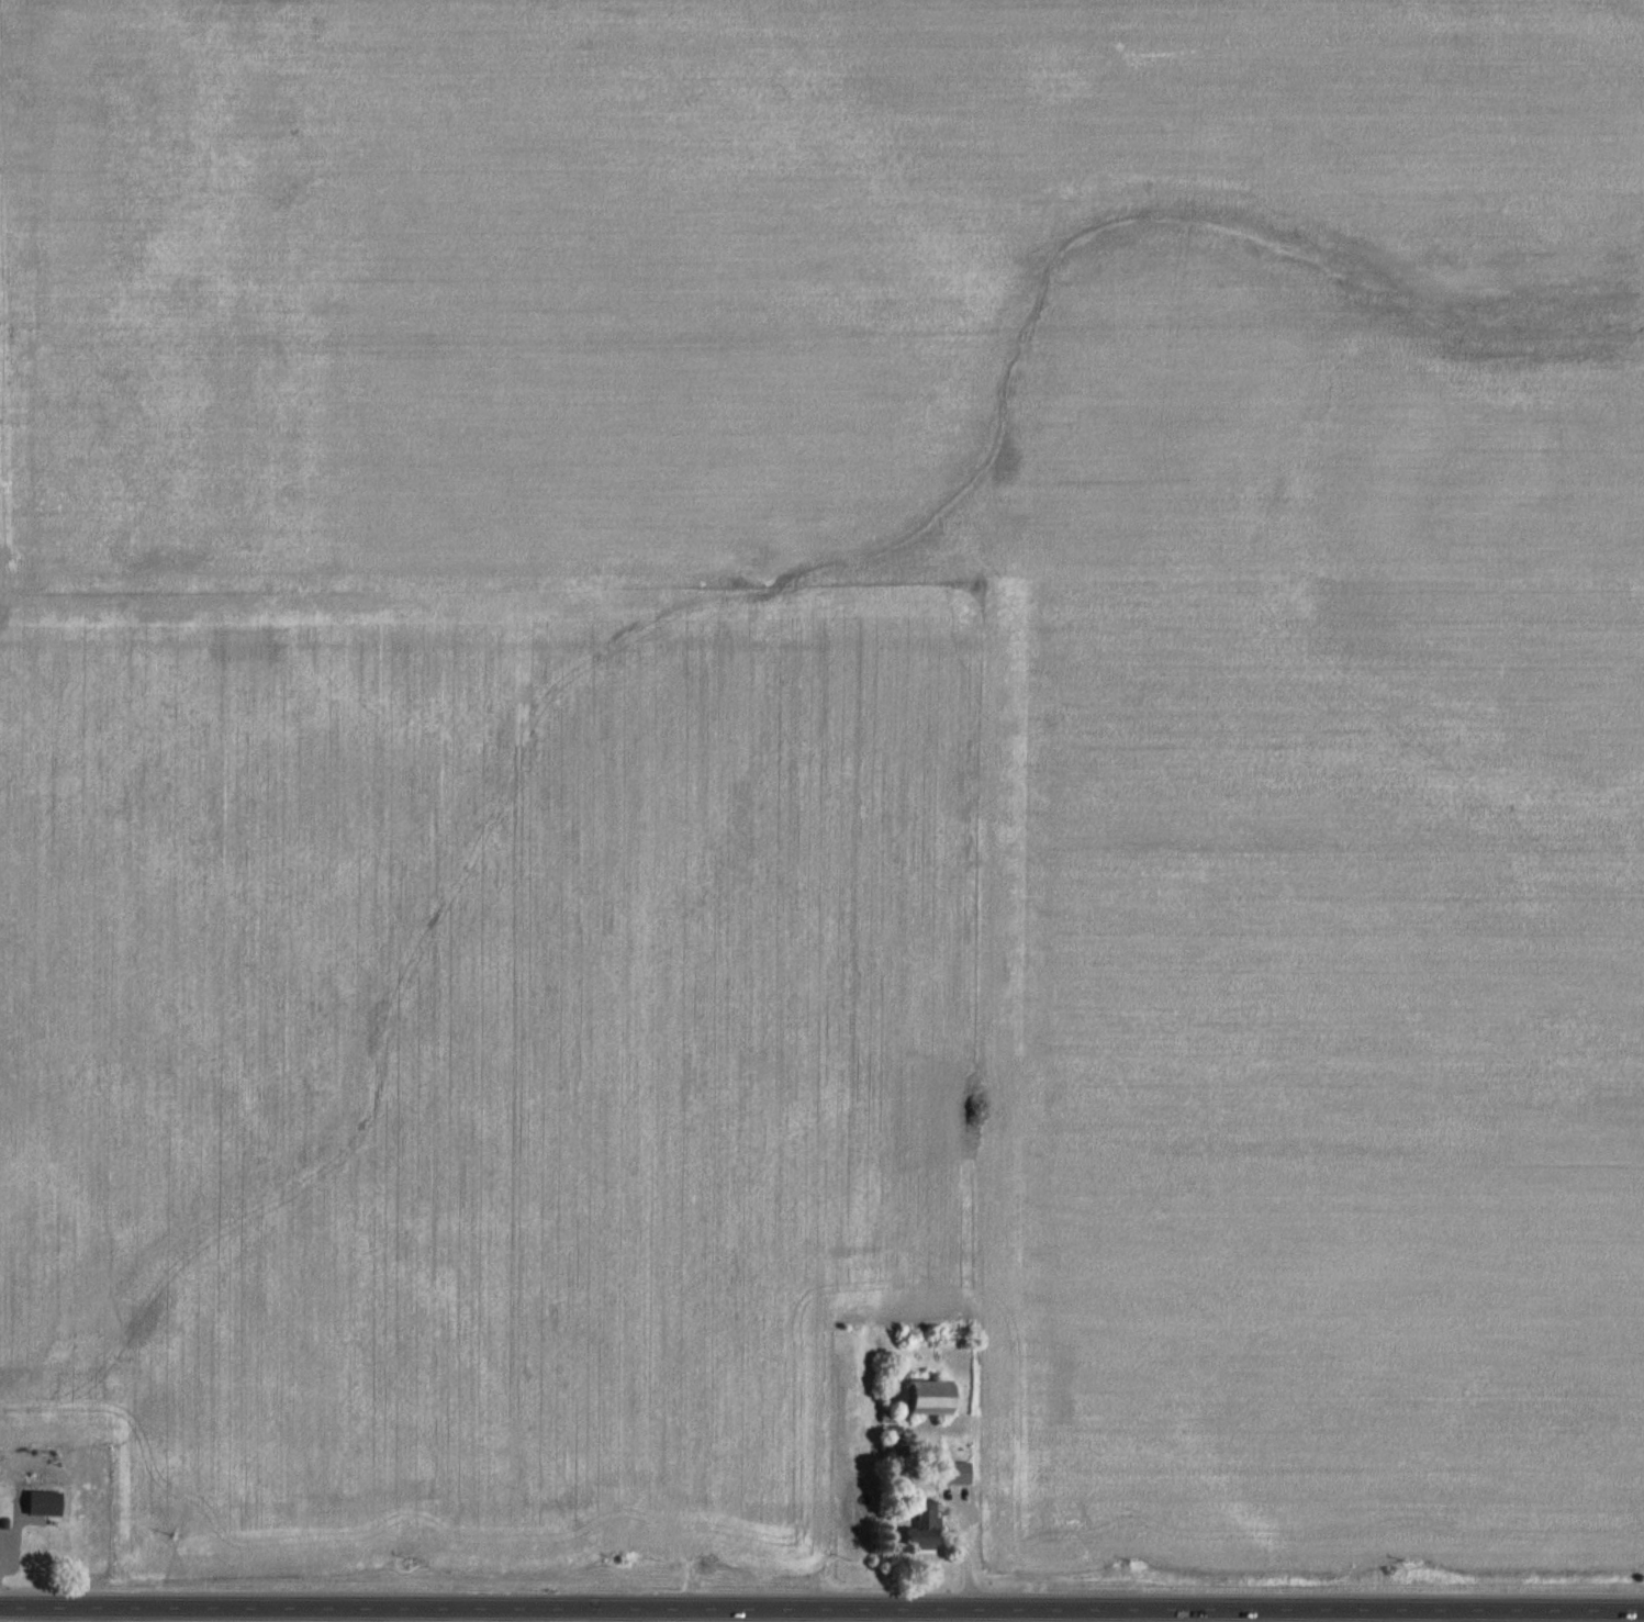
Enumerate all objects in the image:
building: (939, 1395)
building: (48, 1502)
building: (928, 1523)
road: (821, 1607)
road: (568, 1614)

